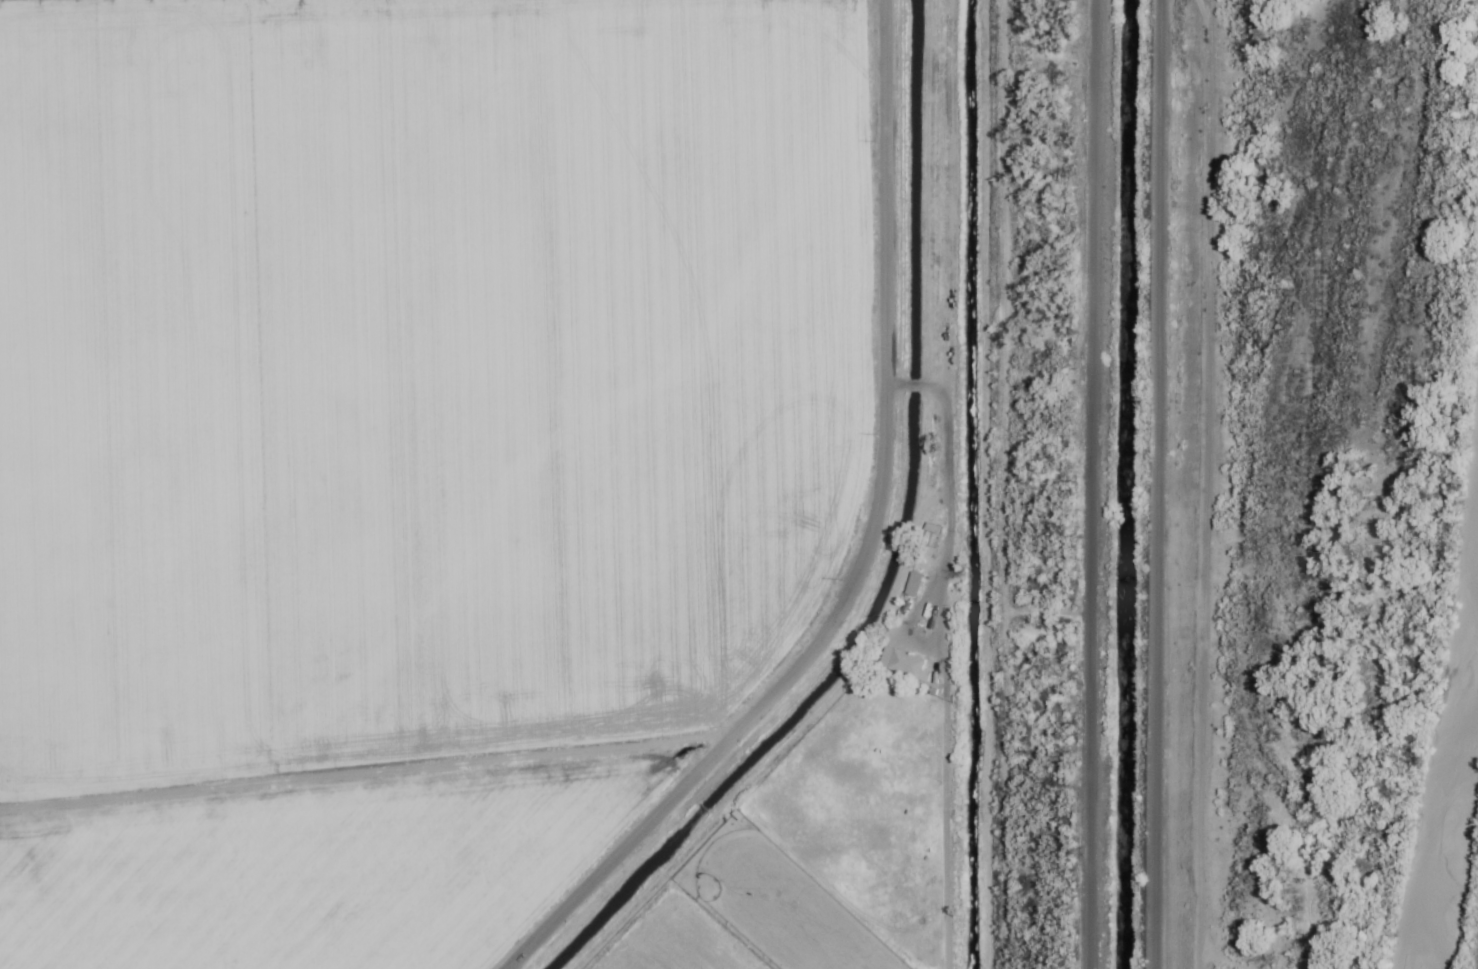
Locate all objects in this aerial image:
road: (1083, 484)
road: (1147, 484)
road: (939, 487)
road: (862, 546)
building: (912, 586)
building: (904, 665)
river: (1448, 754)

